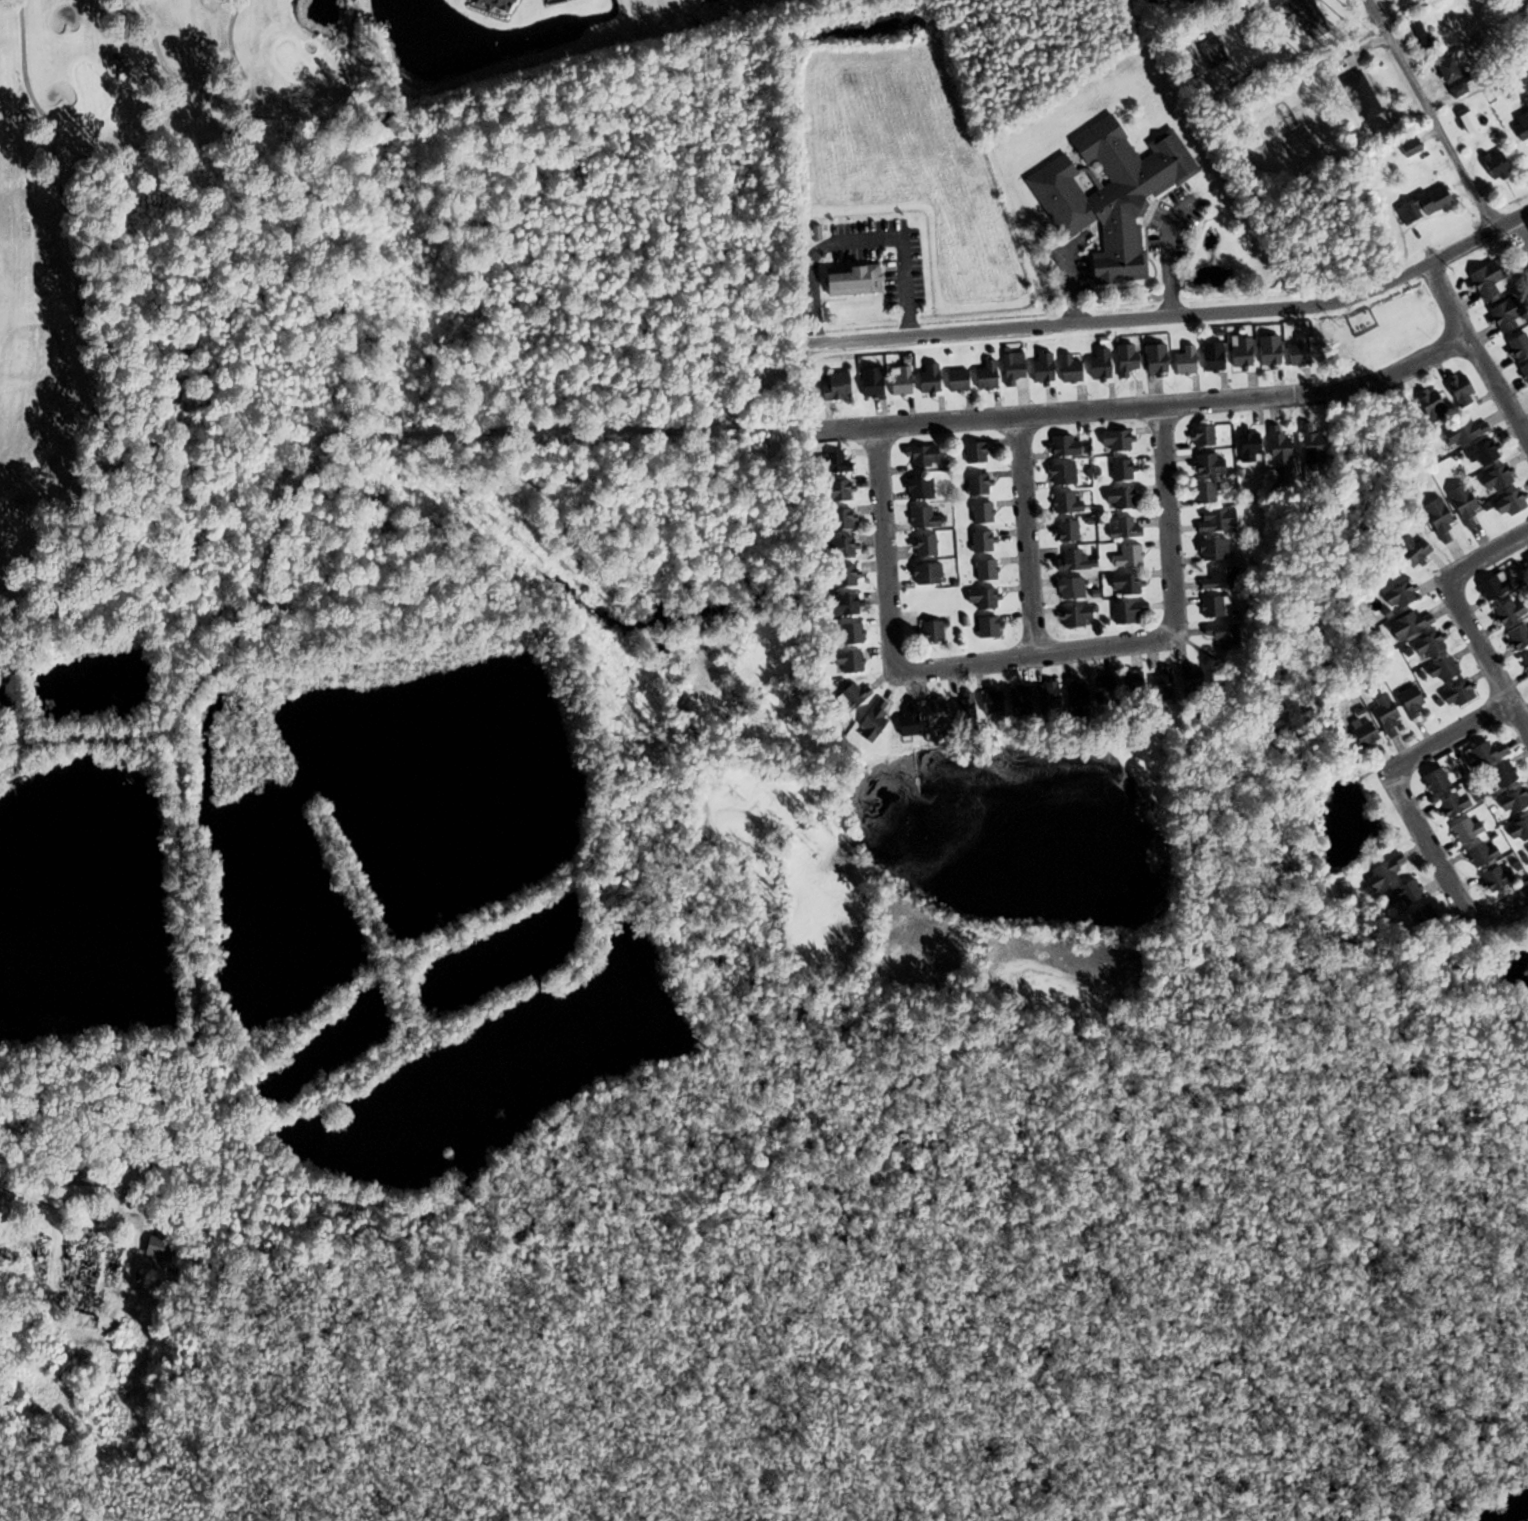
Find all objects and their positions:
building: (501, 3)
building: (1299, 11)
building: (1209, 53)
building: (1449, 79)
building: (1358, 97)
road: (1430, 115)
building: (1464, 122)
building: (1520, 129)
building: (1408, 148)
building: (1491, 166)
building: (1107, 194)
building: (1421, 205)
road: (1521, 231)
road: (1169, 264)
building: (856, 279)
building: (1482, 279)
road: (1071, 292)
building: (1501, 314)
building: (1516, 345)
road: (1476, 349)
building: (1266, 351)
building: (1296, 352)
building: (1238, 353)
building: (1209, 357)
building: (1152, 359)
building: (1122, 360)
building: (1181, 361)
building: (1095, 364)
building: (1009, 369)
building: (1039, 369)
building: (1066, 369)
building: (1523, 371)
building: (983, 376)
building: (932, 378)
building: (904, 380)
building: (958, 380)
building: (875, 382)
building: (840, 386)
building: (1458, 391)
road: (1145, 403)
building: (1429, 406)
road: (690, 428)
building: (1461, 432)
building: (1200, 435)
building: (1113, 440)
building: (1308, 445)
building: (1062, 446)
building: (1245, 446)
building: (1276, 449)
building: (974, 452)
building: (1480, 453)
building: (919, 455)
building: (838, 463)
building: (1206, 465)
building: (1120, 469)
building: (1058, 474)
building: (1493, 479)
building: (975, 484)
building: (916, 489)
building: (838, 491)
building: (1201, 493)
building: (1117, 498)
building: (1063, 503)
building: (1506, 503)
building: (1460, 507)
building: (978, 513)
road: (1167, 516)
building: (920, 518)
building: (840, 519)
building: (1435, 519)
building: (1213, 521)
building: (1120, 528)
building: (1063, 531)
road: (1026, 535)
building: (979, 542)
building: (922, 545)
building: (843, 547)
road: (886, 547)
building: (1406, 548)
building: (1210, 549)
building: (1125, 557)
building: (1072, 561)
building: (1525, 561)
building: (982, 570)
building: (923, 573)
building: (847, 575)
building: (1217, 579)
building: (1122, 584)
building: (1491, 586)
building: (1067, 588)
building: (1397, 596)
building: (980, 598)
building: (847, 604)
building: (1211, 606)
building: (1505, 611)
building: (1124, 612)
road: (1465, 616)
building: (1072, 617)
building: (1406, 626)
building: (985, 627)
building: (927, 631)
building: (857, 632)
building: (1220, 634)
building: (1516, 637)
building: (1425, 646)
road: (1038, 654)
building: (851, 661)
building: (1524, 663)
building: (1440, 669)
building: (1187, 681)
building: (1130, 683)
building: (1101, 686)
building: (1159, 686)
building: (1073, 691)
building: (1044, 694)
building: (1454, 694)
building: (855, 696)
building: (1016, 696)
building: (988, 702)
building: (1408, 704)
building: (962, 709)
building: (932, 713)
building: (1383, 715)
building: (908, 718)
building: (875, 723)
building: (1360, 733)
building: (1480, 754)
building: (1499, 775)
building: (1432, 780)
road: (1377, 791)
building: (1511, 801)
building: (1450, 803)
building: (1517, 829)
building: (1463, 830)
building: (1526, 849)
building: (1478, 854)
building: (1382, 873)
building: (1494, 877)
building: (1404, 892)
building: (1423, 916)
road: (1493, 917)
building: (86, 1175)
building: (89, 1194)
building: (0, 1200)

